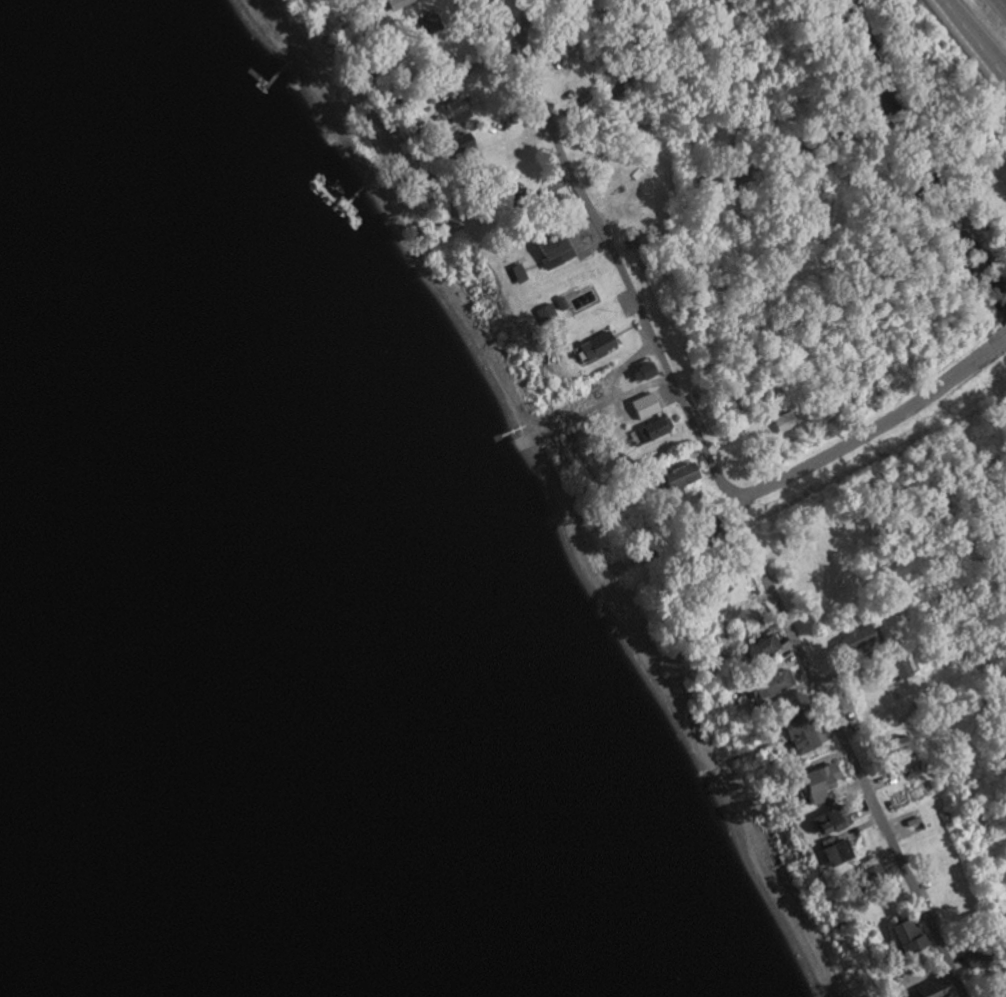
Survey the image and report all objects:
building: (400, 3)
road: (1002, 4)
building: (432, 24)
road: (975, 38)
pier: (282, 79)
building: (461, 110)
building: (467, 144)
pier: (352, 194)
building: (557, 250)
building: (546, 313)
road: (991, 334)
building: (599, 344)
building: (646, 371)
building: (647, 405)
building: (786, 421)
building: (656, 428)
road: (856, 429)
building: (684, 474)
road: (727, 499)
building: (860, 637)
building: (765, 647)
building: (903, 667)
building: (775, 684)
building: (804, 734)
building: (823, 782)
building: (833, 819)
river: (113, 827)
building: (839, 852)
building: (911, 936)
building: (976, 956)

